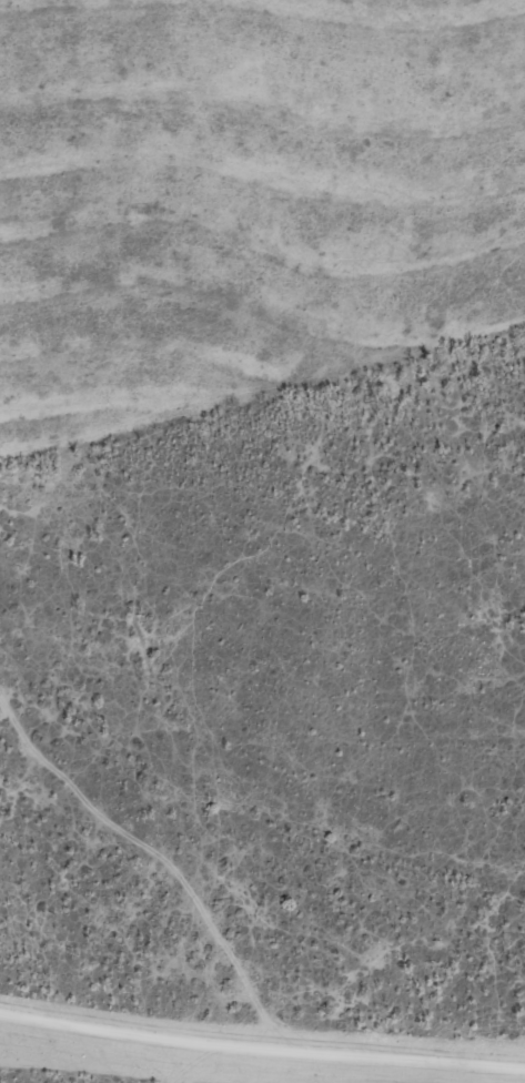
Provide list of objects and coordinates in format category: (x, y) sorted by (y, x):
road: (102, 1032)
road: (365, 1056)
road: (189, 1063)

